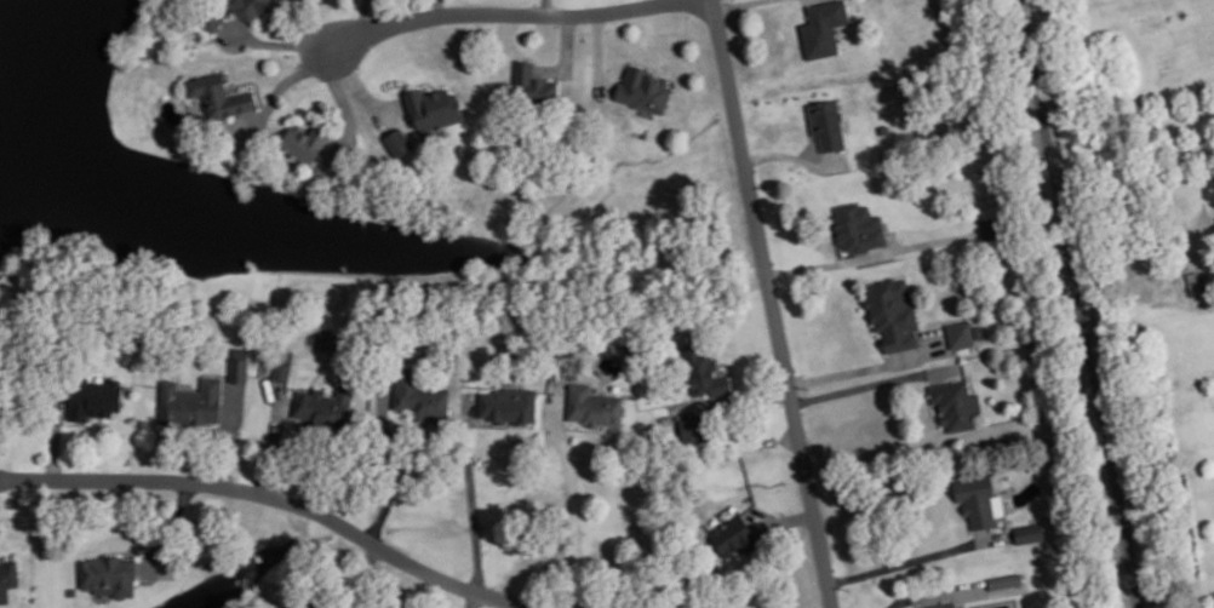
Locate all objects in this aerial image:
road: (733, 2)
building: (250, 6)
road: (440, 6)
road: (546, 6)
road: (502, 12)
building: (208, 16)
road: (366, 16)
road: (263, 22)
building: (823, 25)
street lamp: (491, 27)
road: (277, 41)
road: (567, 51)
road: (599, 51)
street lamp: (297, 55)
road: (630, 59)
road: (256, 81)
building: (532, 81)
road: (414, 84)
road: (280, 86)
road: (361, 87)
building: (643, 88)
building: (219, 94)
road: (343, 103)
road: (390, 104)
building: (433, 107)
building: (826, 122)
building: (304, 140)
building: (399, 140)
road: (791, 155)
building: (858, 225)
road: (832, 241)
road: (830, 262)
road: (773, 304)
railway: (1081, 304)
building: (893, 311)
building: (2, 314)
building: (961, 332)
building: (284, 352)
building: (239, 365)
road: (865, 367)
building: (281, 368)
building: (704, 372)
road: (875, 384)
building: (92, 395)
building: (419, 396)
building: (189, 400)
road: (733, 400)
building: (509, 403)
building: (954, 403)
building: (325, 405)
building: (594, 405)
road: (82, 421)
building: (694, 425)
road: (580, 426)
road: (229, 435)
road: (57, 436)
road: (274, 437)
road: (389, 465)
road: (471, 493)
road: (574, 495)
road: (279, 497)
building: (977, 497)
road: (783, 520)
road: (167, 528)
building: (1029, 530)
building: (734, 534)
road: (918, 556)
building: (110, 573)
building: (7, 574)
road: (354, 578)
building: (73, 590)
road: (937, 591)
road: (473, 600)
building: (293, 603)
building: (943, 604)

